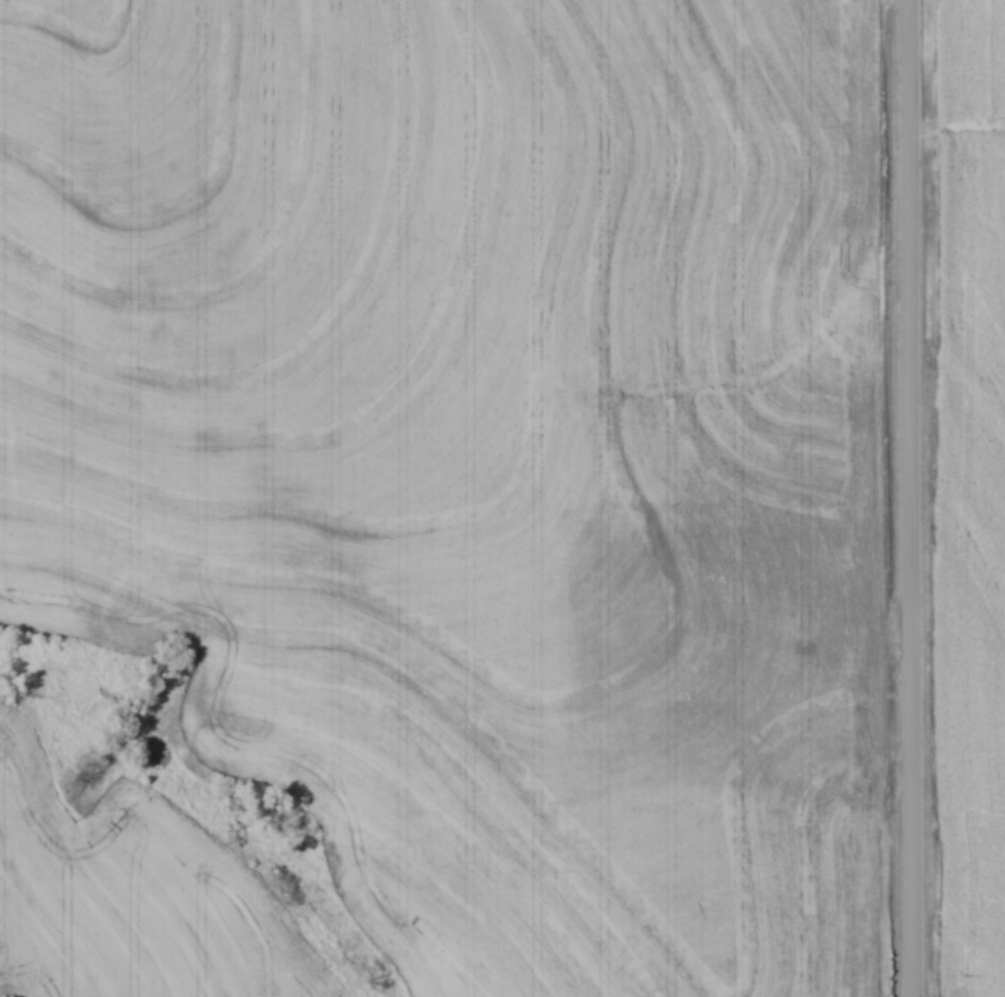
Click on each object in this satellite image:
road: (912, 498)

